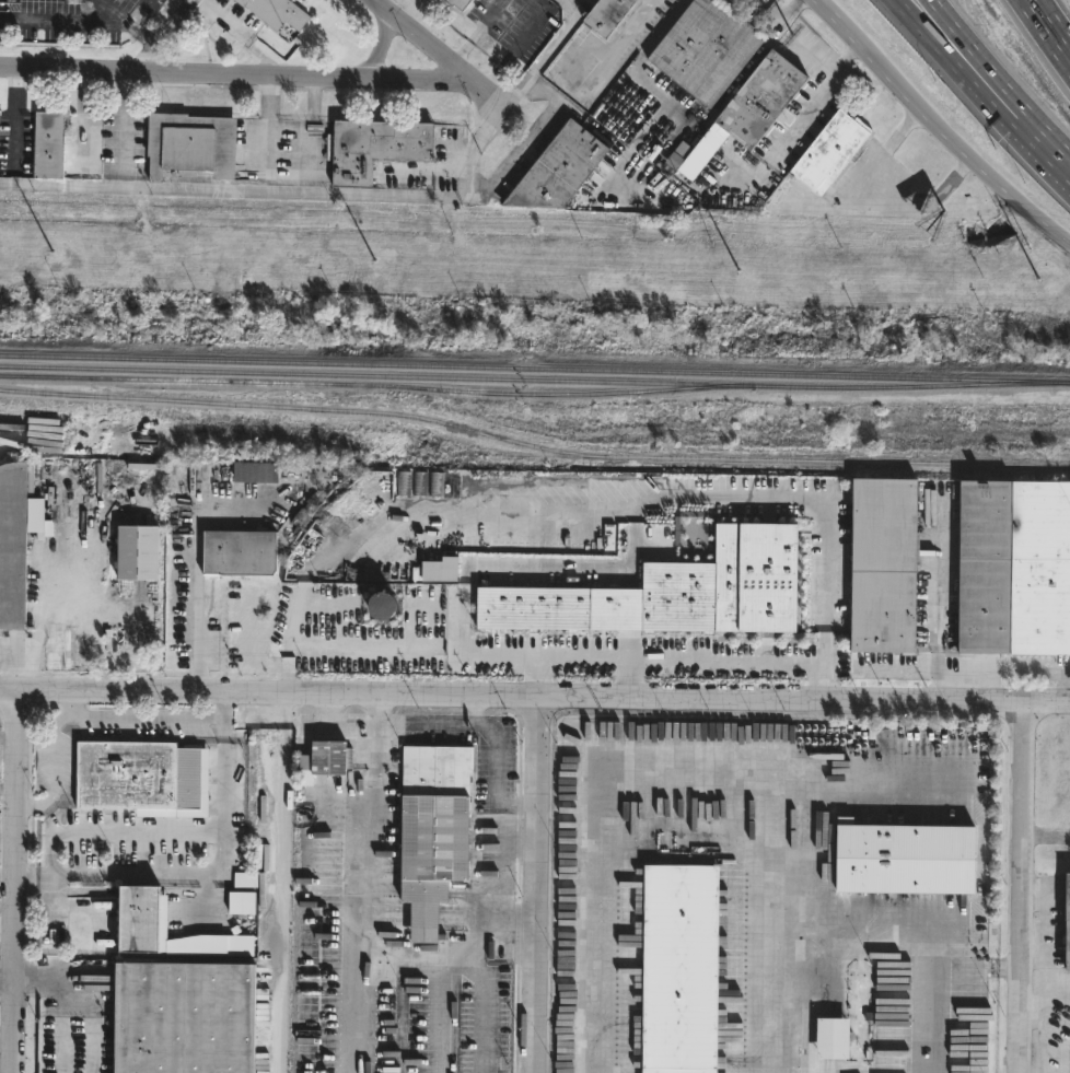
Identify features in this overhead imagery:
building: (456, 3)
building: (274, 12)
road: (834, 12)
road: (779, 13)
road: (117, 15)
road: (171, 15)
building: (606, 15)
road: (61, 18)
road: (1050, 26)
road: (928, 27)
road: (943, 27)
road: (142, 35)
road: (616, 45)
road: (143, 49)
building: (709, 49)
road: (875, 57)
road: (530, 72)
road: (292, 78)
road: (806, 108)
building: (744, 110)
road: (572, 112)
road: (1015, 113)
building: (46, 142)
building: (187, 145)
building: (380, 147)
building: (829, 151)
building: (1, 163)
road: (984, 167)
road: (422, 168)
building: (561, 168)
road: (298, 178)
road: (485, 183)
road: (233, 189)
railway: (535, 366)
railway: (534, 380)
railway: (376, 388)
railway: (533, 446)
building: (253, 470)
building: (694, 482)
building: (13, 541)
building: (241, 551)
building: (138, 553)
road: (817, 557)
building: (884, 562)
building: (1012, 565)
building: (667, 591)
road: (938, 594)
road: (198, 599)
building: (382, 604)
road: (638, 656)
road: (877, 672)
road: (818, 678)
road: (534, 697)
road: (72, 703)
road: (226, 704)
road: (484, 709)
road: (376, 710)
road: (149, 714)
road: (54, 751)
building: (326, 759)
building: (127, 775)
road: (677, 783)
road: (34, 802)
building: (438, 829)
road: (178, 832)
road: (1045, 833)
road: (517, 844)
road: (498, 851)
building: (907, 859)
road: (50, 868)
road: (15, 882)
road: (536, 885)
road: (1021, 887)
road: (367, 899)
road: (49, 903)
building: (143, 918)
road: (912, 920)
building: (1066, 922)
road: (1033, 943)
road: (515, 944)
road: (1045, 967)
building: (681, 968)
road: (44, 972)
road: (1033, 1011)
building: (184, 1017)
road: (77, 1026)
building: (837, 1039)

